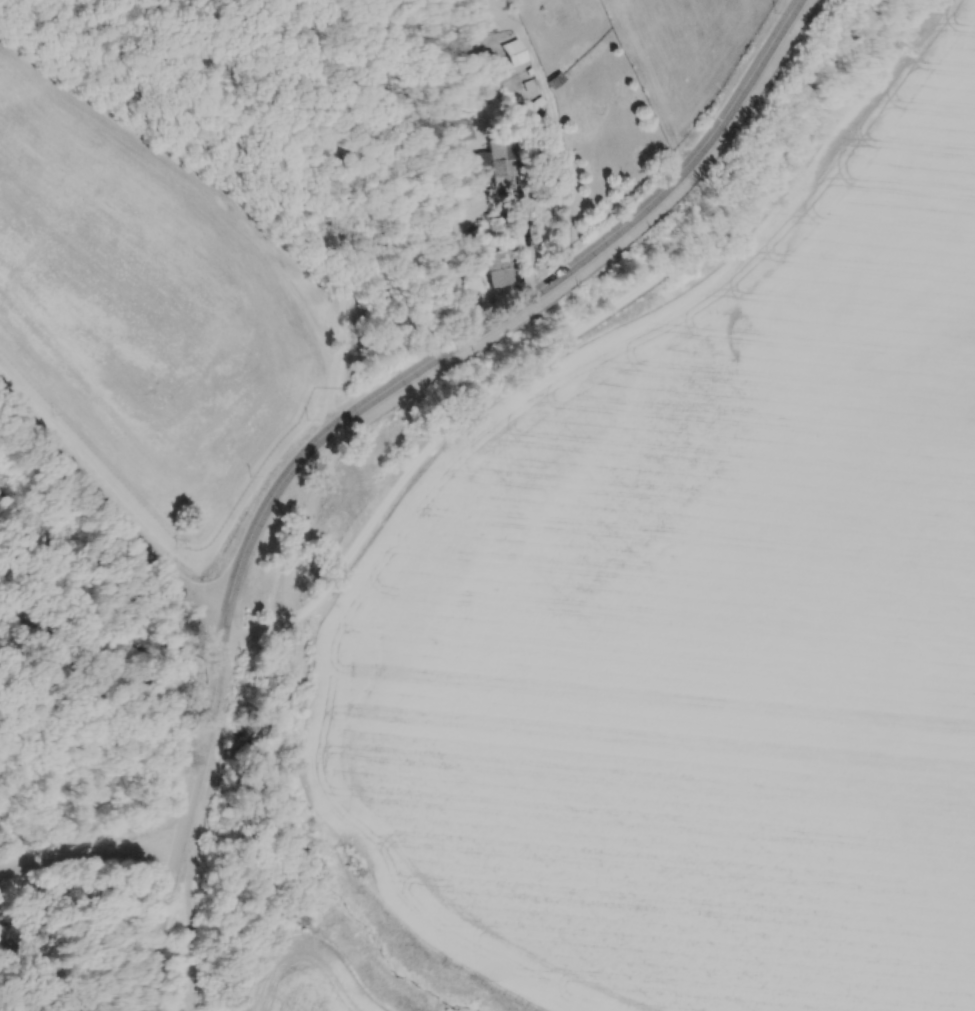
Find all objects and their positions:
building: (474, 7)
building: (501, 169)
road: (745, 210)
building: (493, 270)
road: (527, 310)
road: (504, 313)
road: (111, 509)
road: (25, 567)
road: (64, 576)
road: (298, 647)
road: (222, 660)
park: (142, 680)
road: (284, 695)
road: (214, 708)
road: (106, 732)
road: (245, 735)
park: (82, 739)
road: (88, 860)
road: (174, 864)
road: (189, 879)
road: (87, 932)
road: (34, 957)

